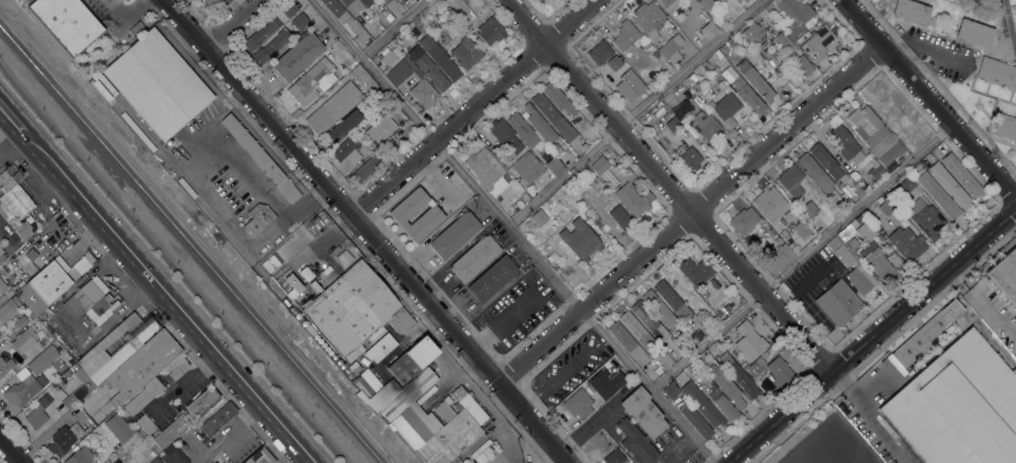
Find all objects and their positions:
building: (539, 1)
building: (1015, 1)
building: (367, 2)
building: (210, 3)
building: (705, 3)
building: (669, 4)
building: (458, 6)
building: (354, 8)
building: (394, 8)
building: (289, 9)
road: (123, 10)
building: (910, 12)
building: (795, 15)
building: (451, 18)
building: (648, 19)
building: (299, 20)
building: (345, 20)
building: (67, 23)
road: (230, 23)
building: (372, 27)
building: (419, 27)
road: (393, 28)
road: (1007, 28)
building: (708, 29)
building: (491, 32)
building: (261, 33)
building: (753, 33)
building: (974, 33)
building: (625, 37)
building: (442, 38)
building: (784, 41)
building: (815, 42)
building: (645, 44)
building: (270, 46)
building: (671, 48)
building: (599, 52)
building: (466, 53)
building: (655, 54)
building: (297, 55)
building: (768, 55)
building: (388, 58)
building: (440, 58)
road: (951, 58)
building: (614, 63)
building: (704, 64)
building: (803, 65)
building: (428, 68)
building: (997, 73)
building: (313, 77)
building: (362, 78)
building: (754, 80)
building: (157, 84)
building: (422, 84)
building: (722, 84)
building: (623, 88)
building: (747, 94)
building: (377, 98)
building: (557, 98)
road: (928, 99)
building: (845, 104)
road: (473, 107)
building: (333, 108)
building: (726, 109)
building: (682, 111)
road: (634, 112)
building: (553, 117)
road: (11, 118)
building: (539, 125)
building: (672, 125)
building: (343, 126)
building: (705, 126)
building: (867, 126)
building: (1006, 127)
building: (380, 129)
building: (525, 131)
building: (725, 135)
building: (504, 136)
road: (11, 140)
building: (845, 144)
building: (583, 146)
building: (348, 150)
building: (604, 153)
building: (889, 153)
building: (687, 157)
building: (261, 159)
building: (614, 159)
building: (827, 163)
building: (598, 165)
building: (367, 167)
building: (527, 167)
building: (554, 167)
building: (875, 169)
building: (486, 170)
building: (960, 174)
building: (818, 176)
building: (791, 181)
building: (949, 185)
building: (908, 186)
road: (667, 187)
building: (846, 191)
building: (858, 191)
building: (938, 195)
building: (13, 196)
building: (524, 196)
building: (648, 196)
building: (631, 200)
building: (770, 204)
road: (213, 208)
building: (809, 210)
building: (889, 210)
building: (400, 214)
road: (689, 214)
building: (540, 216)
building: (621, 218)
building: (258, 219)
building: (926, 219)
building: (743, 220)
building: (37, 222)
building: (316, 222)
road: (366, 230)
building: (24, 231)
road: (513, 231)
building: (454, 234)
building: (868, 234)
building: (844, 238)
building: (580, 240)
building: (777, 241)
building: (906, 243)
railway: (189, 246)
building: (840, 251)
building: (1, 254)
building: (31, 255)
road: (800, 256)
building: (344, 258)
building: (474, 258)
building: (778, 259)
building: (877, 261)
building: (270, 263)
road: (171, 265)
building: (696, 271)
building: (305, 274)
building: (1005, 275)
building: (493, 278)
building: (860, 278)
building: (2, 286)
building: (292, 286)
building: (314, 286)
building: (43, 287)
building: (703, 294)
building: (5, 296)
road: (168, 298)
building: (671, 299)
building: (89, 300)
building: (837, 303)
building: (659, 309)
road: (980, 309)
building: (7, 310)
building: (355, 311)
road: (495, 316)
building: (648, 319)
building: (1012, 320)
building: (310, 330)
building: (637, 330)
building: (925, 334)
building: (0, 335)
road: (871, 335)
building: (0, 339)
building: (24, 339)
building: (749, 341)
building: (628, 343)
building: (380, 346)
building: (935, 346)
building: (124, 349)
building: (654, 355)
building: (42, 360)
building: (412, 360)
building: (759, 363)
building: (5, 366)
building: (891, 366)
building: (141, 367)
building: (352, 369)
building: (707, 371)
building: (779, 372)
building: (66, 373)
building: (597, 374)
building: (740, 377)
building: (23, 388)
building: (78, 389)
building: (729, 389)
building: (670, 391)
building: (141, 397)
building: (719, 399)
building: (201, 402)
building: (578, 404)
building: (701, 404)
building: (958, 406)
building: (38, 412)
building: (423, 415)
road: (866, 418)
building: (218, 419)
building: (696, 421)
building: (145, 424)
building: (639, 425)
building: (118, 427)
building: (172, 429)
building: (63, 439)
airport: (824, 441)
airport apron: (833, 445)
road: (11, 450)
building: (80, 456)
building: (173, 456)
building: (259, 457)
building: (614, 457)
building: (480, 458)
building: (119, 460)
building: (155, 460)
building: (209, 462)

